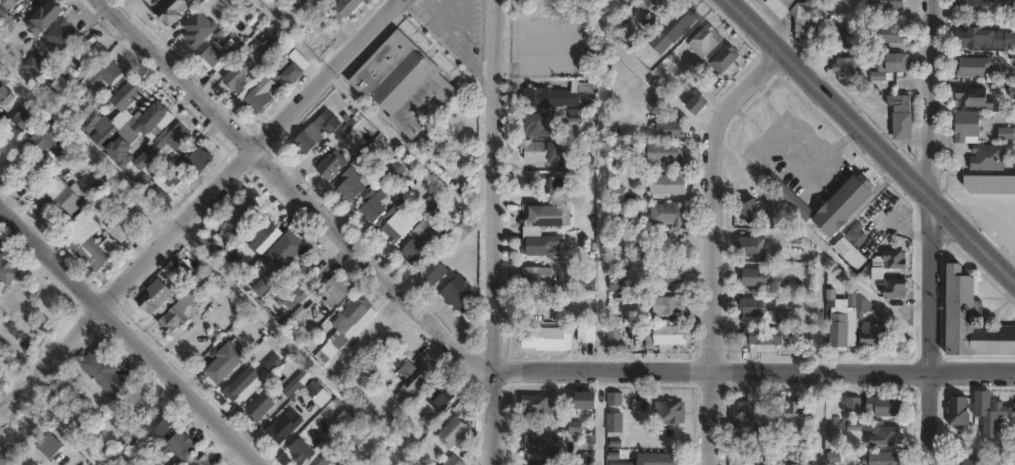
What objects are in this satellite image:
building: (1008, 1)
building: (282, 2)
building: (586, 2)
building: (298, 3)
building: (656, 5)
building: (888, 5)
building: (780, 6)
building: (971, 6)
building: (12, 7)
building: (543, 7)
building: (343, 10)
building: (994, 10)
building: (172, 11)
building: (42, 17)
building: (805, 23)
building: (673, 28)
building: (196, 32)
building: (889, 34)
road: (458, 35)
building: (838, 35)
building: (983, 38)
building: (57, 40)
building: (705, 40)
building: (215, 57)
building: (299, 59)
building: (725, 59)
road: (471, 62)
building: (849, 62)
building: (893, 62)
building: (973, 66)
building: (35, 67)
building: (105, 73)
building: (239, 73)
building: (291, 73)
building: (404, 83)
road: (656, 86)
building: (58, 87)
building: (1013, 91)
building: (5, 95)
building: (560, 96)
building: (971, 96)
building: (256, 98)
building: (697, 103)
building: (901, 103)
building: (124, 114)
road: (368, 114)
building: (568, 114)
building: (148, 119)
building: (24, 120)
building: (91, 122)
building: (537, 125)
building: (903, 126)
building: (968, 126)
building: (454, 128)
building: (669, 129)
building: (318, 132)
building: (1007, 134)
road: (872, 141)
building: (48, 143)
building: (163, 143)
building: (544, 151)
building: (119, 153)
building: (664, 155)
building: (989, 157)
building: (198, 160)
building: (581, 164)
building: (329, 167)
building: (172, 176)
building: (667, 184)
building: (988, 184)
building: (349, 185)
building: (161, 196)
building: (71, 199)
building: (826, 202)
building: (372, 205)
road: (199, 207)
building: (437, 210)
building: (751, 210)
building: (243, 212)
building: (668, 213)
building: (545, 215)
building: (126, 221)
building: (616, 222)
building: (396, 224)
building: (264, 231)
building: (463, 231)
road: (491, 232)
road: (929, 232)
road: (714, 242)
building: (86, 243)
building: (543, 245)
building: (421, 247)
building: (751, 247)
building: (284, 250)
building: (850, 253)
building: (7, 269)
building: (438, 271)
building: (891, 272)
building: (669, 273)
building: (540, 277)
building: (755, 277)
building: (588, 284)
building: (617, 285)
building: (336, 289)
building: (295, 293)
building: (457, 294)
building: (193, 295)
building: (153, 301)
building: (535, 304)
building: (669, 305)
building: (762, 312)
building: (174, 317)
building: (352, 318)
building: (969, 321)
building: (848, 322)
building: (587, 333)
road: (132, 335)
building: (664, 336)
building: (872, 336)
building: (613, 337)
building: (758, 337)
building: (547, 339)
road: (294, 348)
building: (326, 353)
building: (225, 361)
road: (483, 364)
building: (104, 374)
building: (369, 380)
building: (240, 384)
building: (414, 386)
building: (292, 388)
building: (322, 399)
building: (586, 401)
building: (615, 401)
building: (136, 402)
building: (437, 402)
building: (538, 404)
building: (853, 404)
building: (886, 406)
building: (259, 407)
building: (959, 411)
building: (671, 412)
building: (990, 413)
building: (742, 415)
building: (1013, 415)
building: (794, 418)
building: (614, 423)
building: (156, 426)
building: (285, 427)
building: (453, 432)
building: (886, 436)
building: (367, 438)
building: (49, 445)
building: (541, 445)
building: (181, 446)
building: (300, 451)
building: (5, 458)
building: (330, 459)
building: (587, 459)
building: (883, 459)
building: (201, 460)
building: (656, 460)
building: (27, 461)
building: (454, 461)
building: (974, 462)
building: (797, 464)

